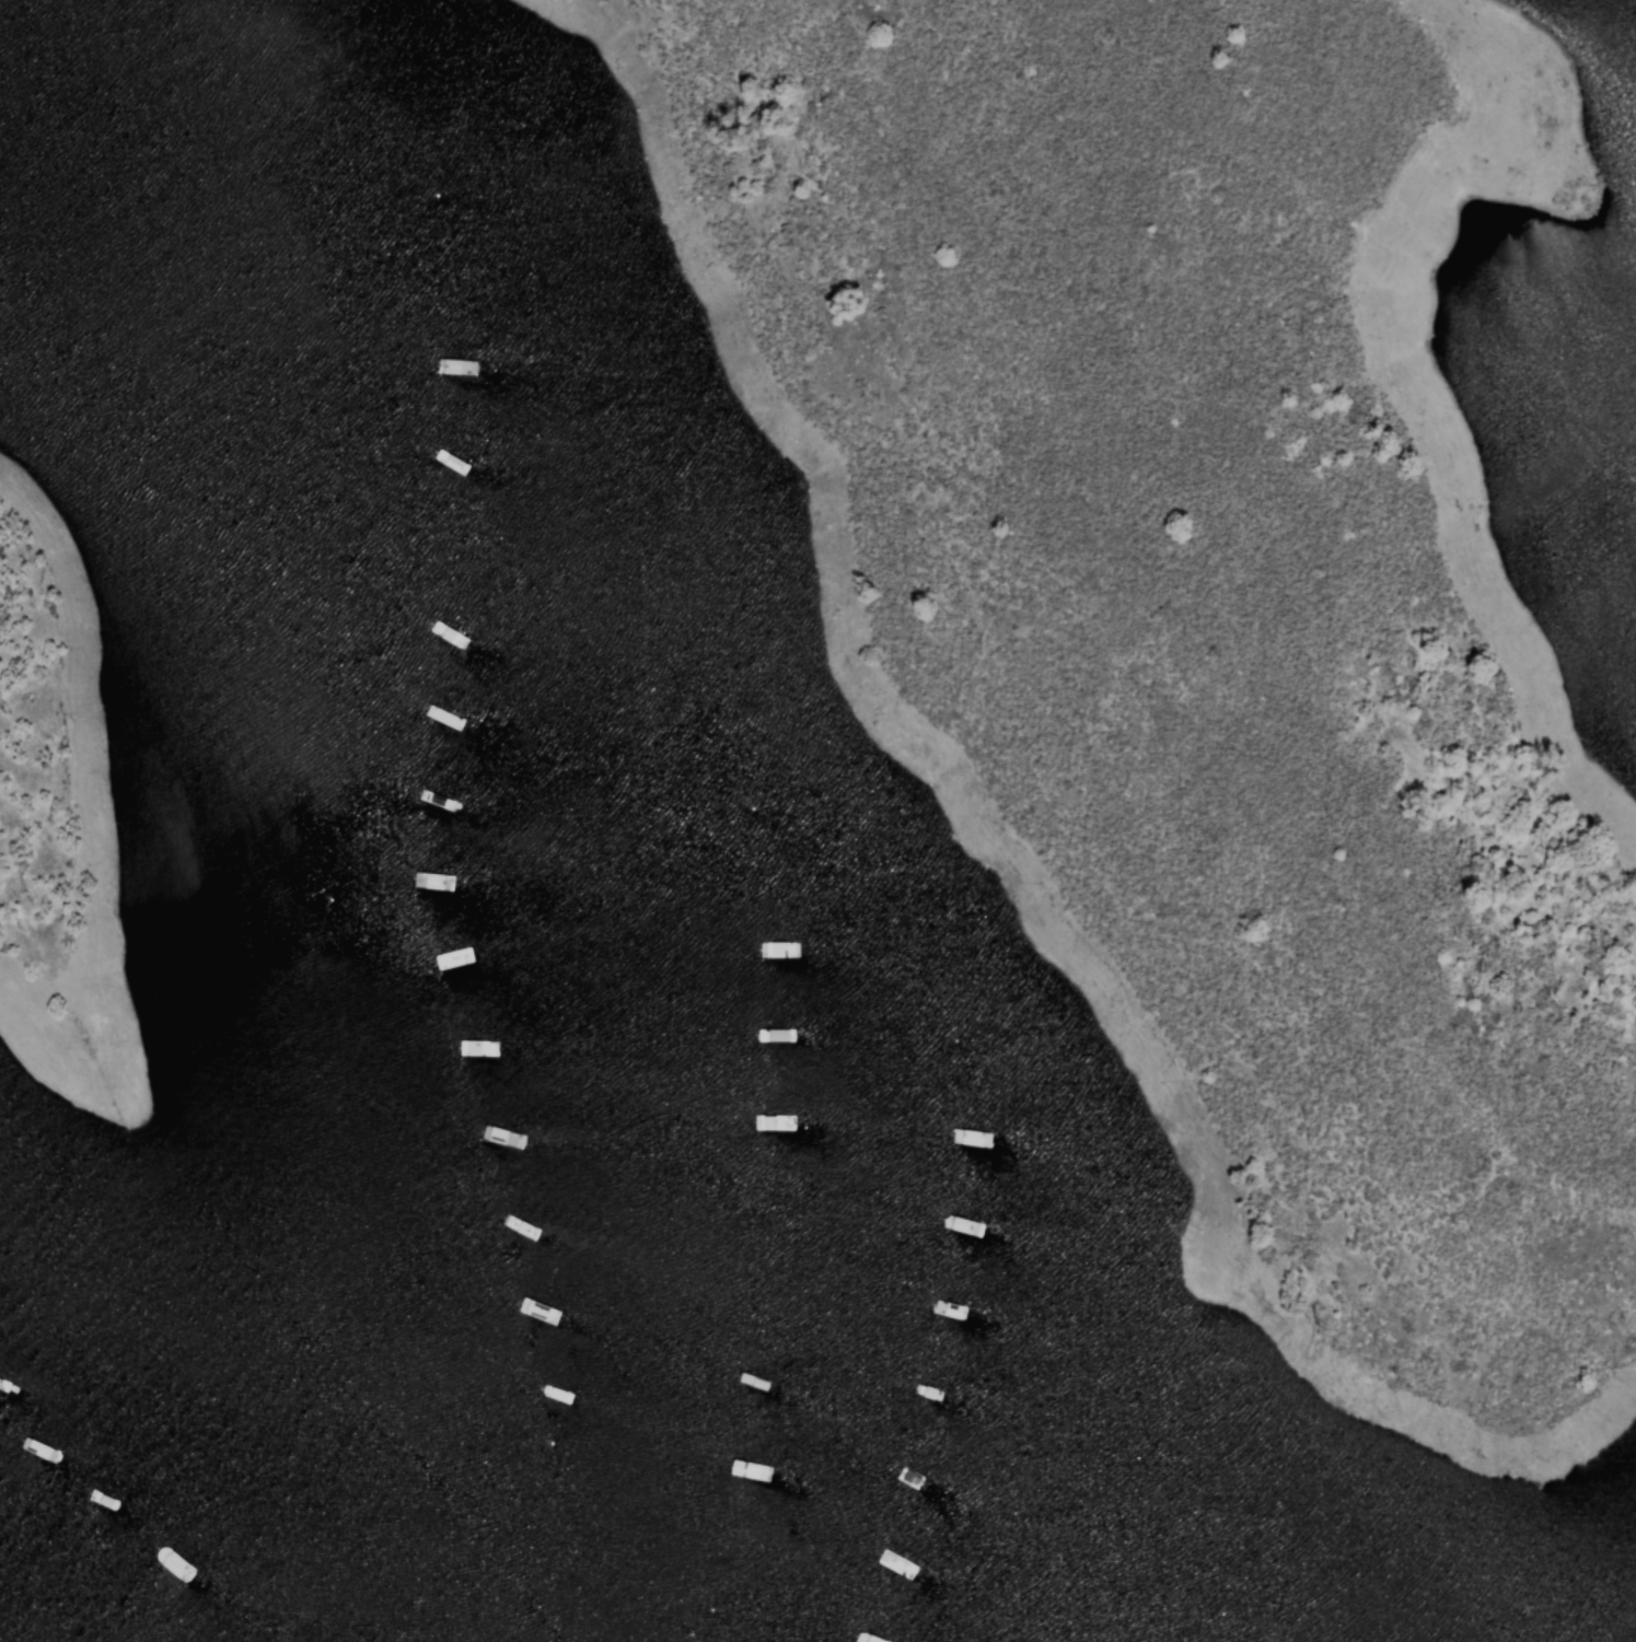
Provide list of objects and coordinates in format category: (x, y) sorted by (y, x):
building: (351, 101)
building: (736, 837)
building: (736, 922)
building: (728, 1084)
building: (855, 1242)
building: (1, 1439)

